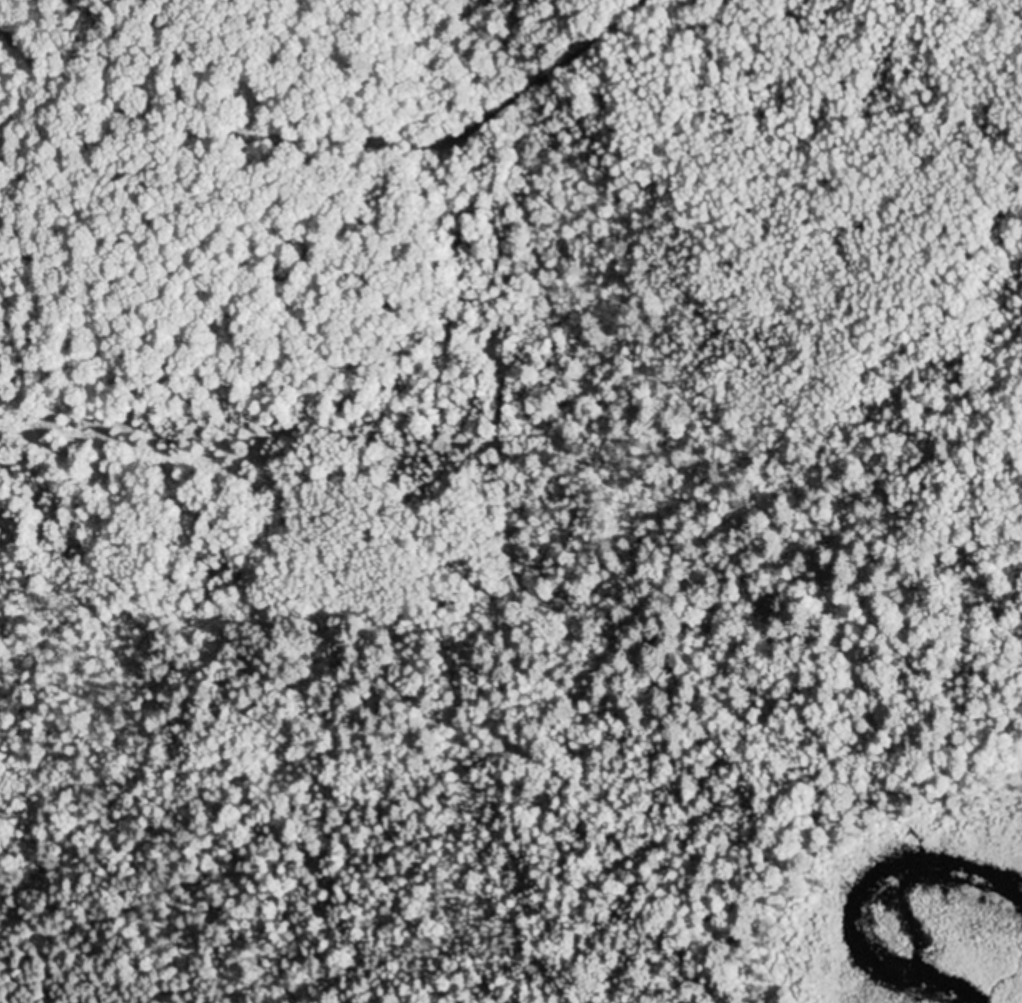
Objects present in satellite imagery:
road: (327, 155)

